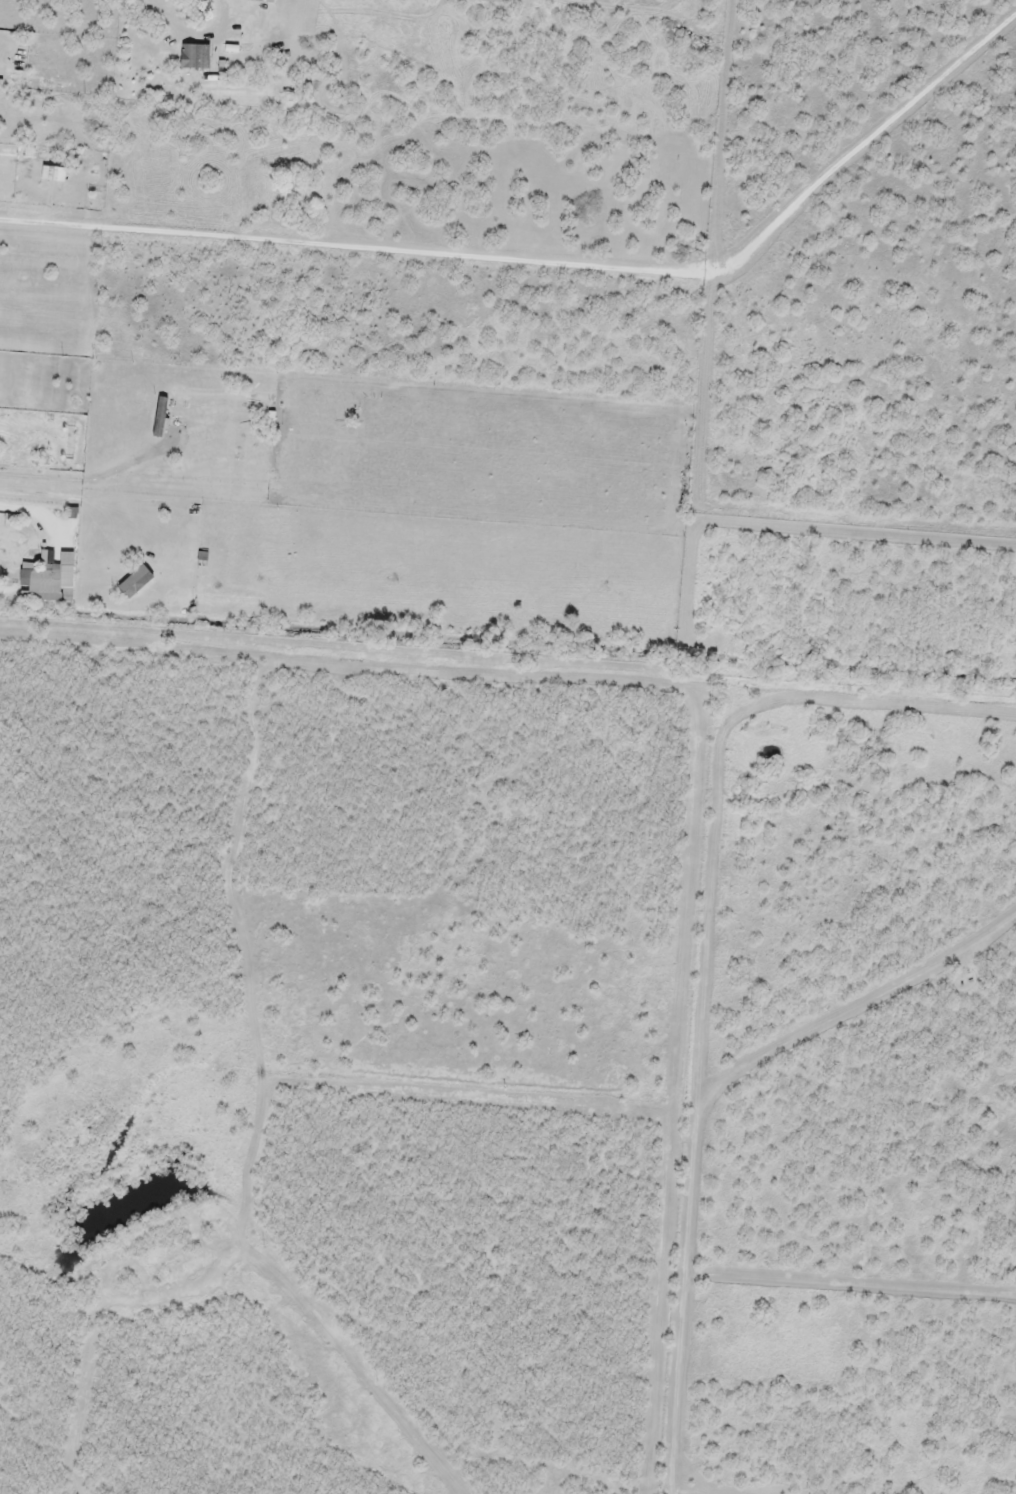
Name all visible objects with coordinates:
building: (192, 55)
road: (63, 210)
road: (63, 230)
road: (53, 474)
road: (52, 493)
building: (69, 576)
building: (43, 595)
road: (693, 742)

